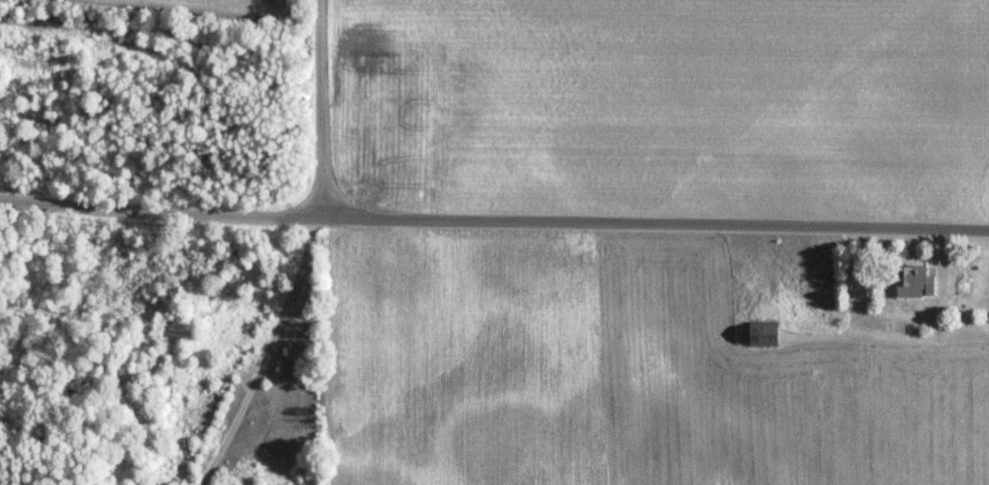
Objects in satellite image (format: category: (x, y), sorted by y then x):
road: (326, 106)
road: (493, 215)
building: (914, 281)
building: (764, 334)
road: (261, 351)

